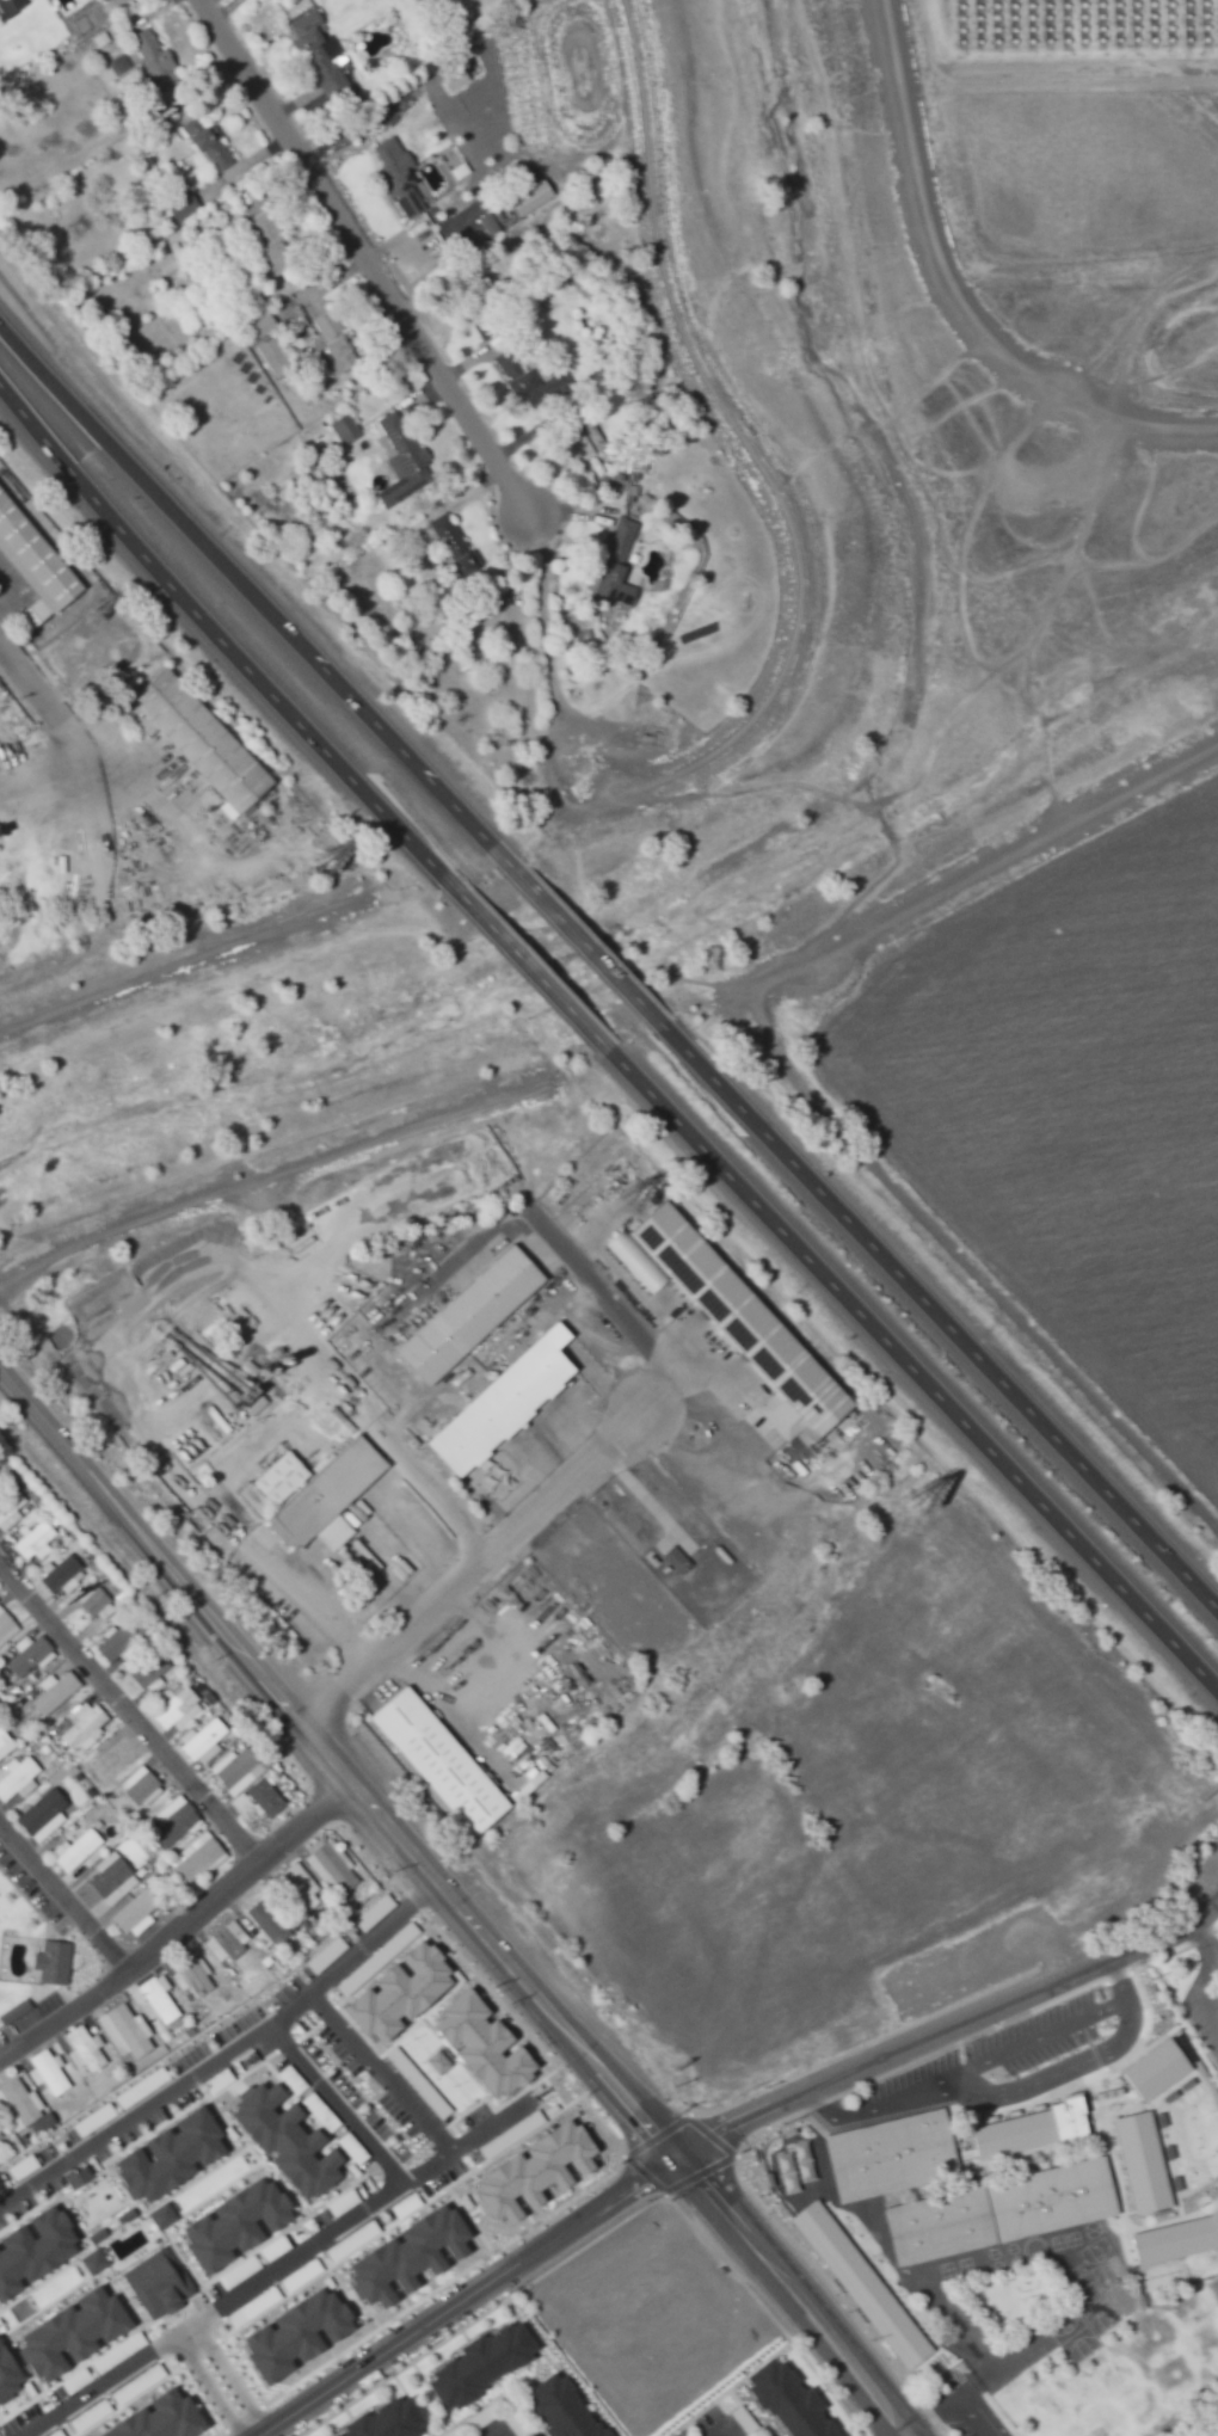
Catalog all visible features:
building: (103, 0)
building: (322, 55)
building: (146, 59)
building: (209, 143)
building: (395, 167)
building: (183, 204)
building: (267, 233)
road: (361, 254)
road: (949, 301)
building: (481, 315)
building: (263, 326)
road: (20, 342)
building: (330, 343)
building: (273, 357)
building: (524, 379)
building: (345, 429)
road: (96, 431)
building: (404, 460)
road: (76, 478)
road: (779, 493)
building: (454, 542)
building: (33, 552)
building: (617, 564)
road: (271, 615)
road: (543, 663)
road: (27, 679)
road: (299, 722)
building: (195, 733)
road: (425, 775)
road: (583, 942)
road: (189, 952)
road: (525, 964)
road: (789, 1072)
road: (277, 1167)
building: (244, 1308)
building: (472, 1315)
building: (733, 1318)
road: (941, 1321)
road: (913, 1372)
building: (505, 1403)
building: (328, 1497)
building: (10, 1507)
building: (35, 1539)
building: (677, 1561)
road: (468, 1565)
building: (59, 1573)
building: (96, 1604)
building: (6, 1625)
building: (116, 1642)
building: (30, 1655)
building: (149, 1671)
building: (56, 1693)
road: (137, 1697)
building: (178, 1709)
building: (84, 1725)
building: (203, 1741)
building: (5, 1742)
building: (117, 1755)
building: (437, 1755)
building: (238, 1770)
building: (18, 1778)
building: (141, 1785)
building: (260, 1798)
building: (43, 1814)
building: (174, 1821)
building: (75, 1850)
building: (201, 1854)
building: (332, 1868)
road: (67, 1877)
building: (111, 1877)
building: (300, 1888)
road: (453, 1901)
building: (136, 1913)
road: (177, 1921)
building: (267, 1923)
road: (1201, 1940)
building: (226, 1942)
road: (1177, 1950)
road: (351, 1954)
building: (54, 1962)
building: (192, 1977)
road: (1200, 1987)
park: (1194, 1988)
building: (401, 1994)
building: (156, 2000)
road: (1183, 2018)
road: (947, 2026)
building: (124, 2031)
building: (485, 2044)
building: (84, 2049)
building: (1157, 2069)
building: (47, 2073)
building: (18, 2105)
road: (410, 2105)
road: (134, 2115)
building: (1034, 2129)
building: (0, 2136)
building: (288, 2141)
traffic signals: (673, 2153)
building: (887, 2154)
road: (737, 2155)
building: (172, 2157)
building: (1144, 2163)
building: (537, 2172)
building: (78, 2177)
building: (1047, 2197)
building: (162, 2216)
building: (238, 2225)
building: (936, 2225)
road: (608, 2227)
building: (1176, 2237)
building: (35, 2251)
road: (296, 2252)
building: (411, 2257)
building: (94, 2262)
road: (463, 2269)
building: (866, 2275)
building: (158, 2286)
road: (457, 2293)
building: (75, 2334)
building: (297, 2336)
building: (918, 2351)
building: (473, 2362)
road: (227, 2373)
building: (10, 2375)
road: (207, 2385)
road: (719, 2394)
road: (488, 2400)
building: (780, 2400)
building: (554, 2410)
building: (162, 2418)
building: (379, 2419)
building: (977, 2420)
park: (1207, 2424)
road: (719, 2426)
road: (1216, 2430)
road: (491, 2431)

